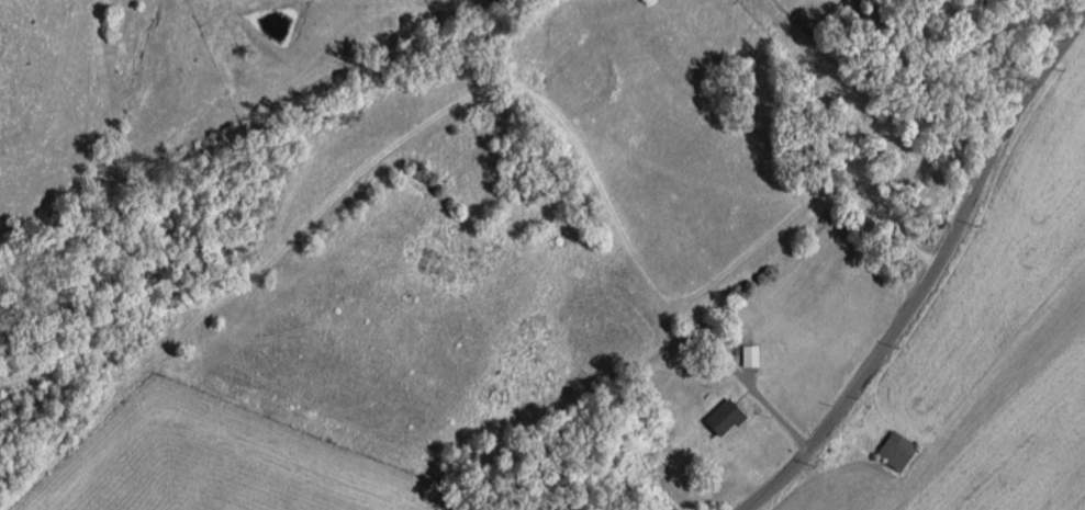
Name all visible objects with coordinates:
road: (988, 46)
road: (924, 84)
road: (932, 274)
building: (753, 355)
building: (729, 417)
building: (902, 451)

